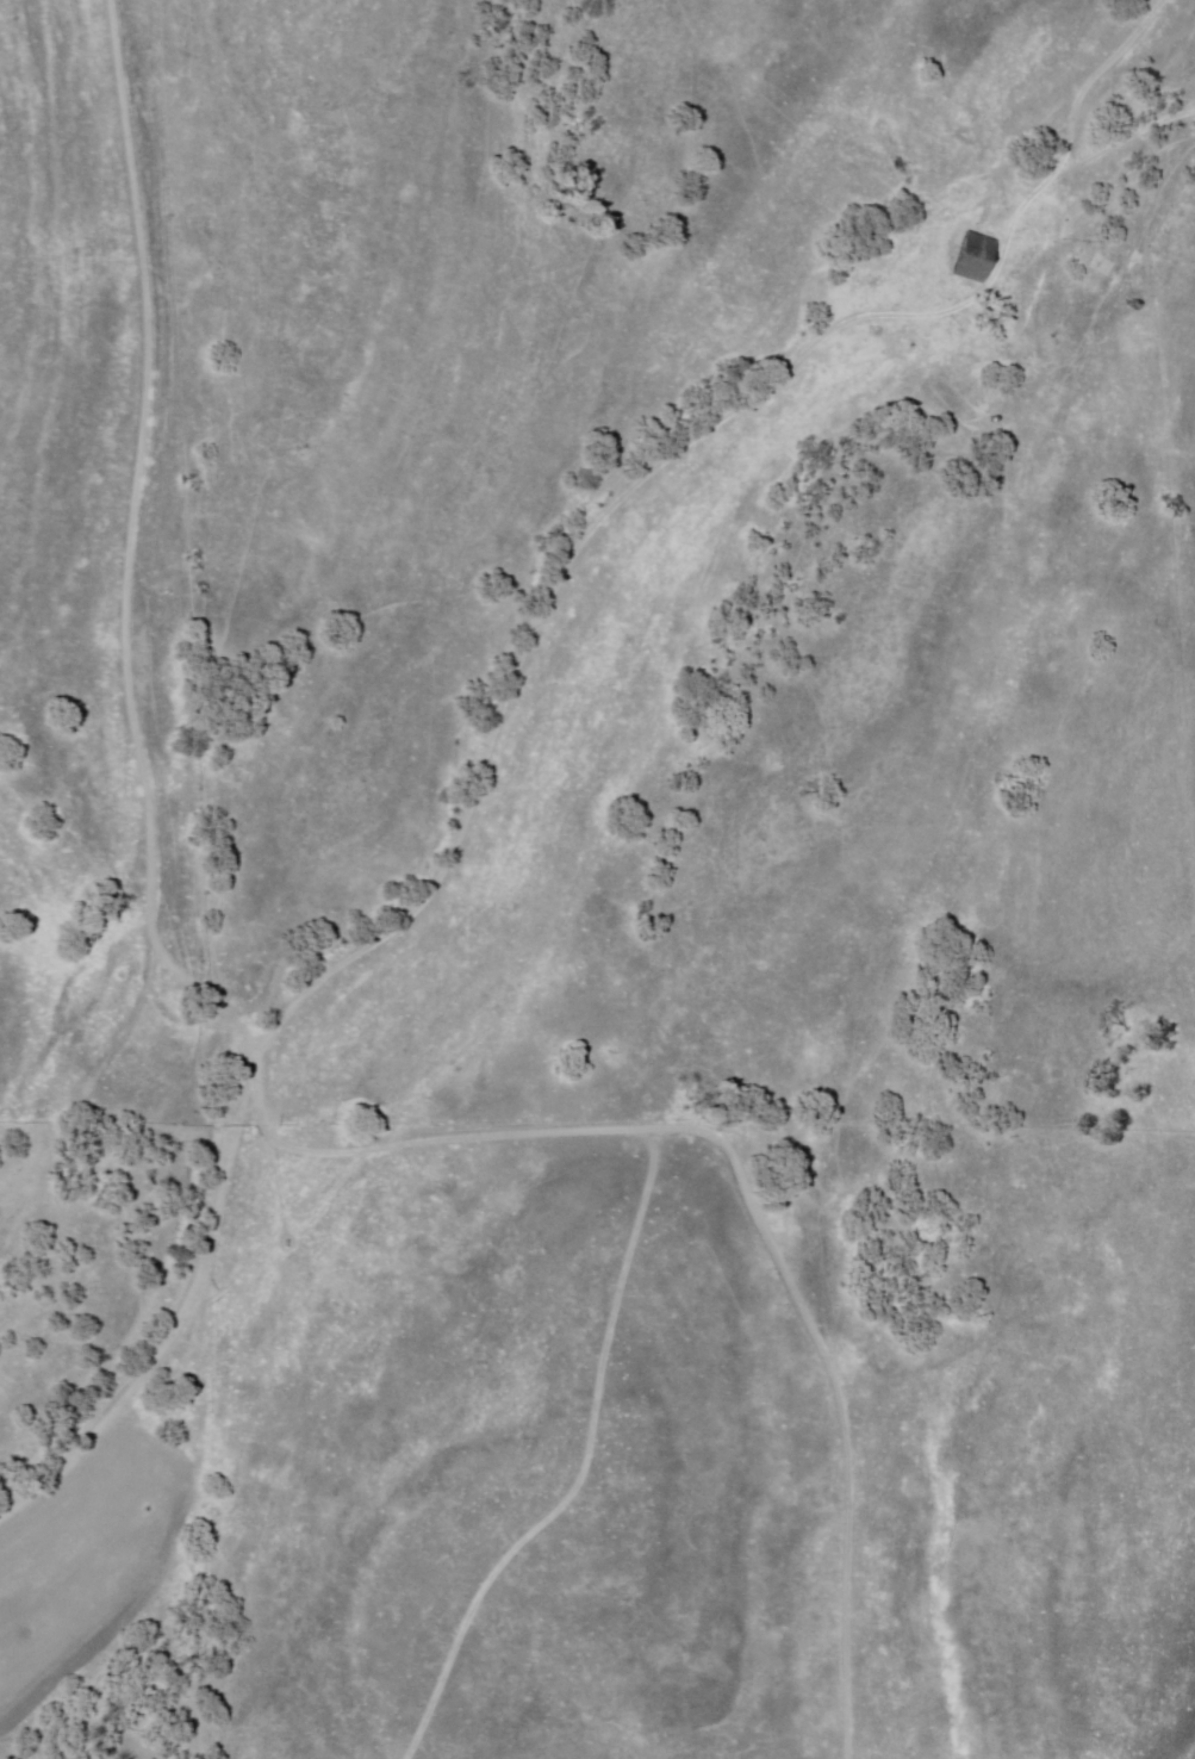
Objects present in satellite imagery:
building: (970, 257)
road: (415, 908)
road: (285, 1039)

